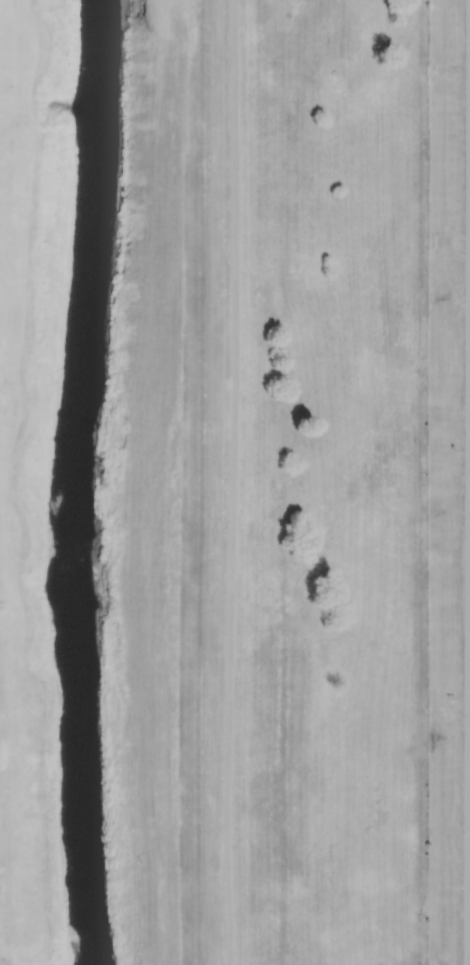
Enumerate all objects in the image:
river: (70, 482)
road: (206, 482)
road: (235, 482)
road: (0, 960)
park: (6, 964)
road: (12, 964)

